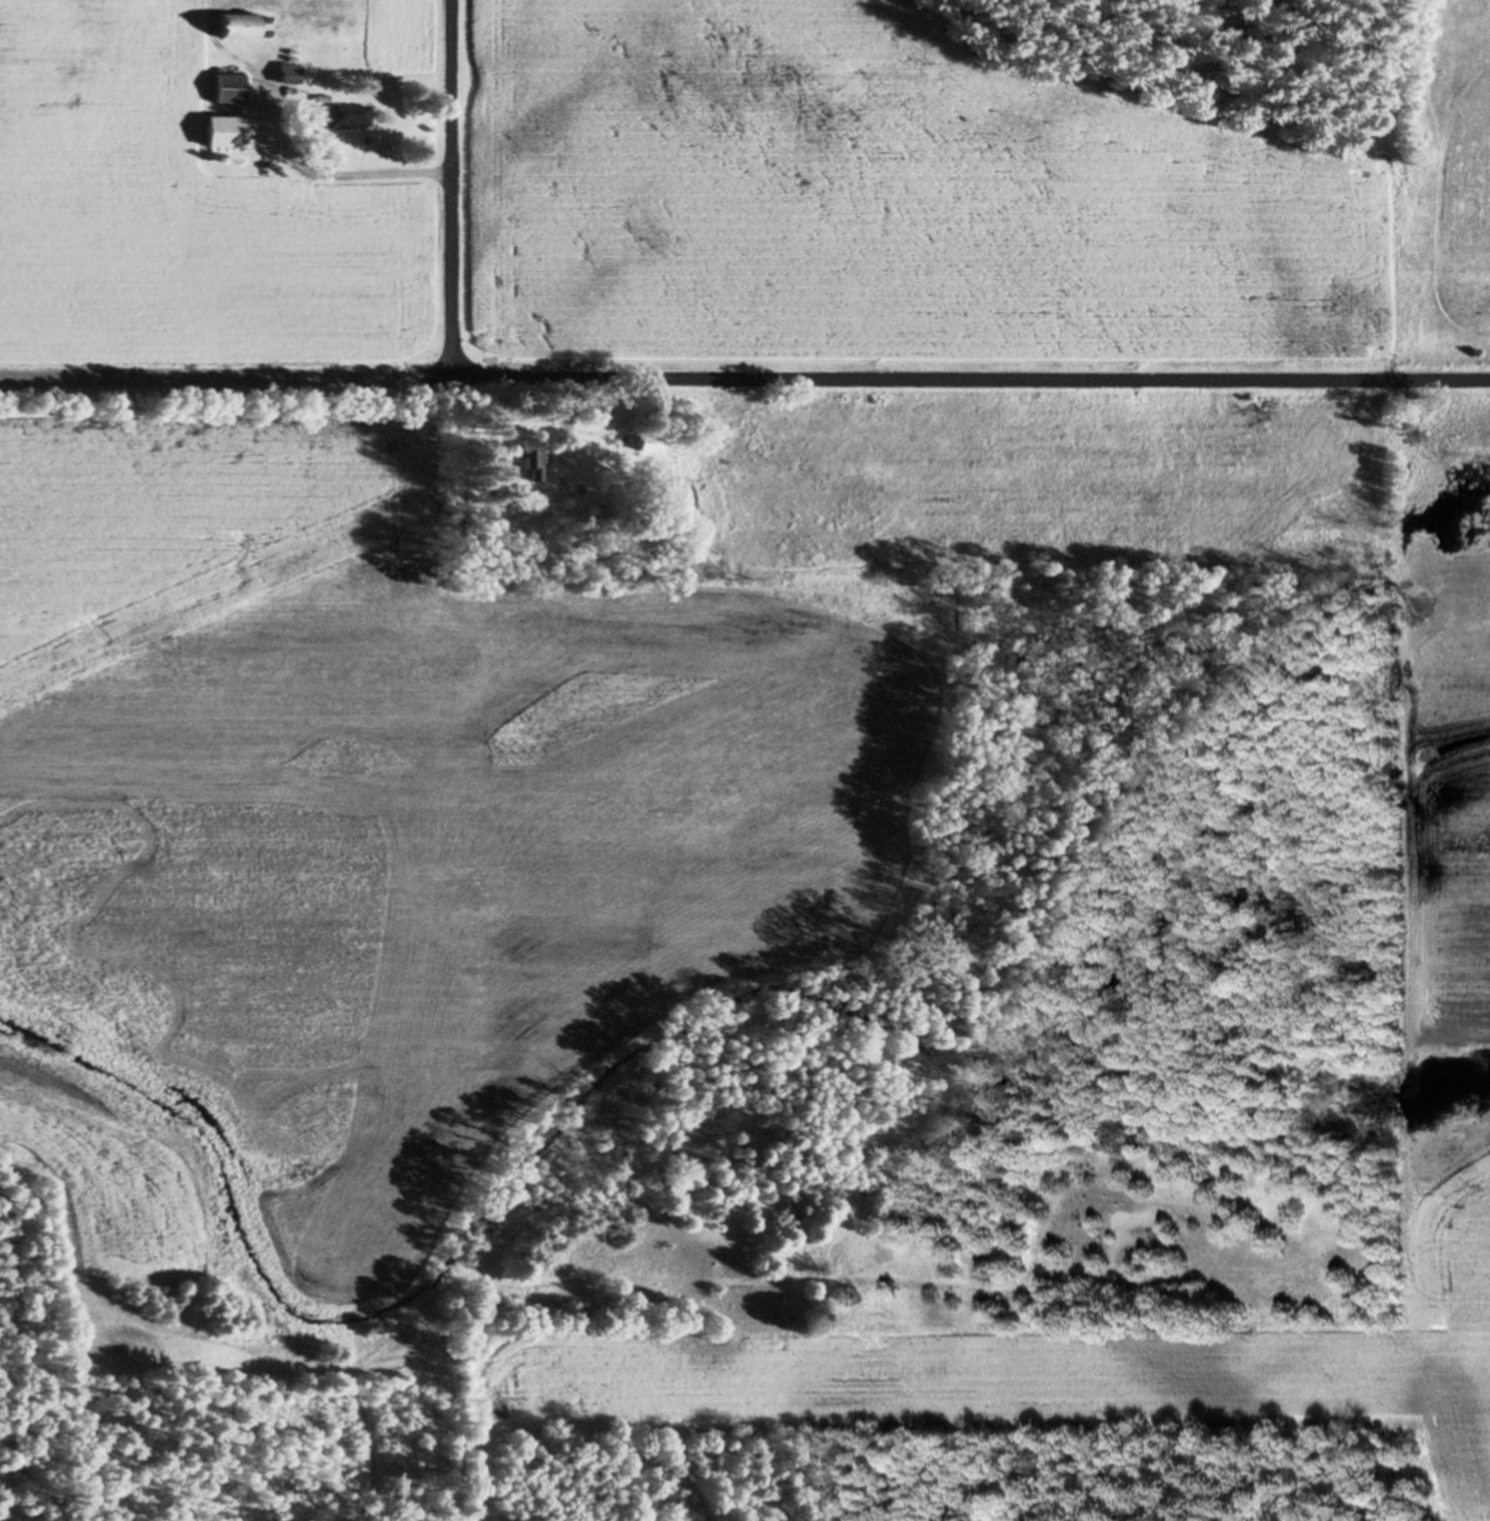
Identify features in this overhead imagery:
building: (231, 29)
building: (285, 75)
building: (224, 89)
building: (346, 116)
building: (222, 133)
road: (450, 186)
building: (1489, 302)
road: (745, 375)
building: (641, 443)
building: (528, 461)

